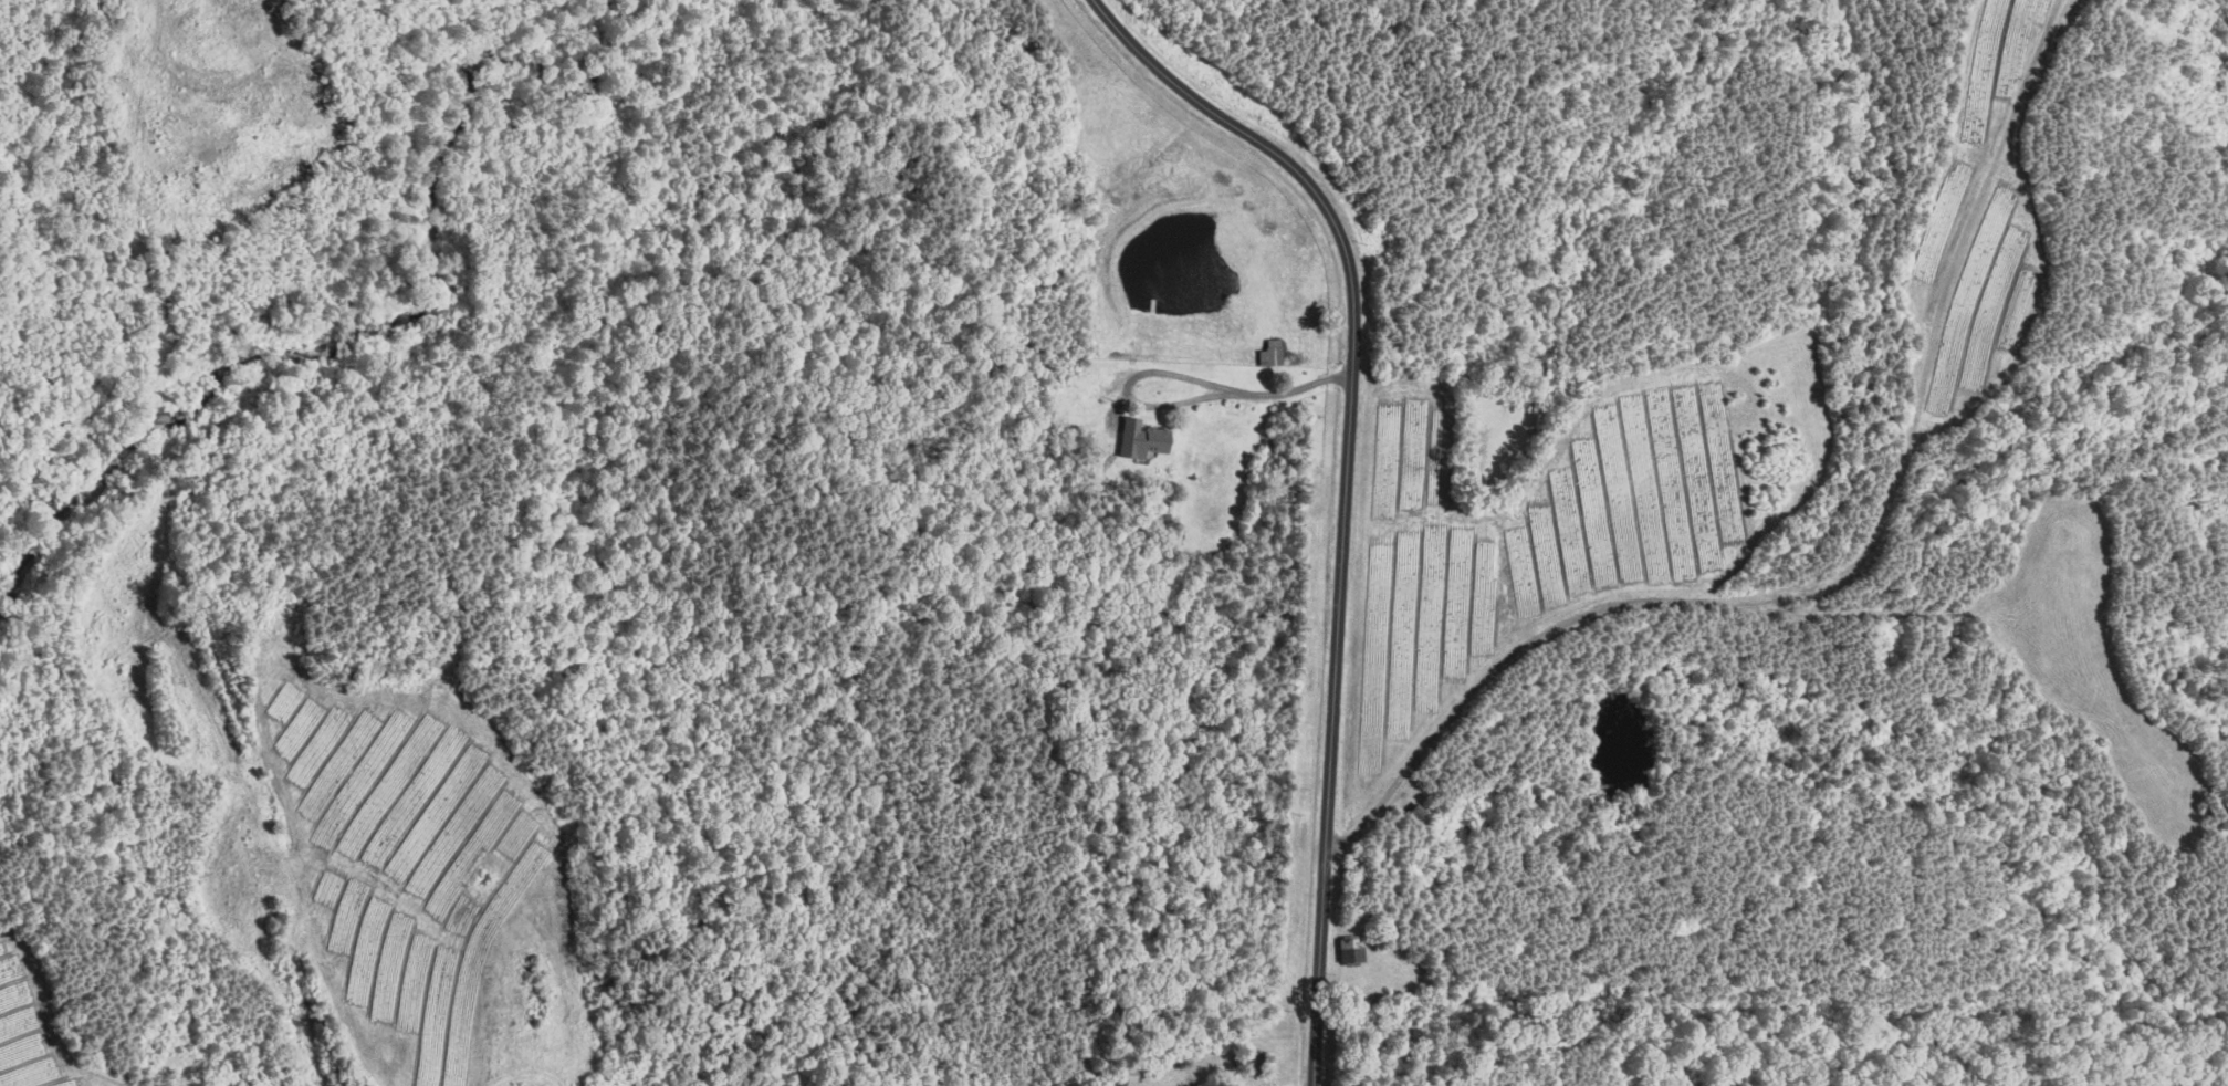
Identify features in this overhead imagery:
road: (1175, 373)
building: (1139, 438)
road: (1343, 487)
building: (1348, 951)

